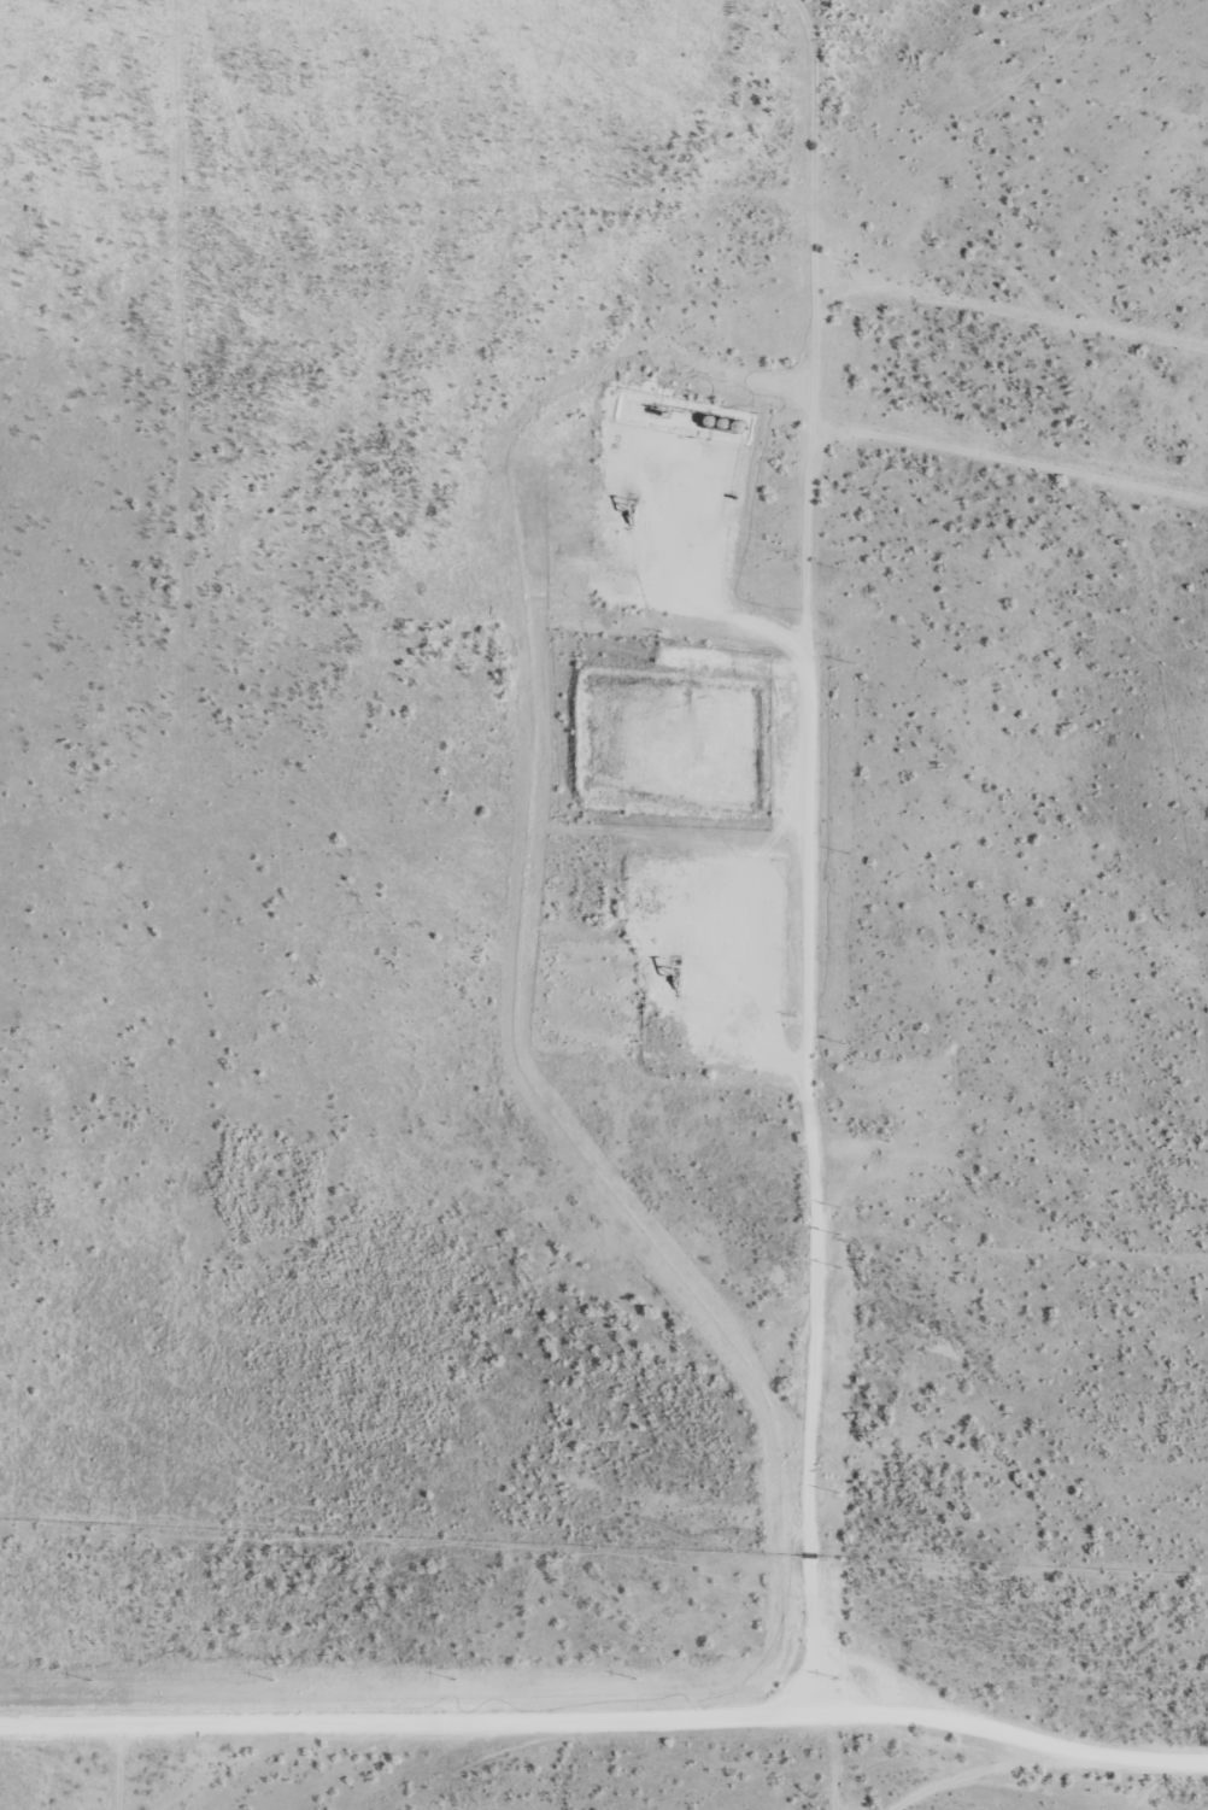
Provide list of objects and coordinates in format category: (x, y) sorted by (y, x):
road: (828, 1740)
road: (921, 1749)

